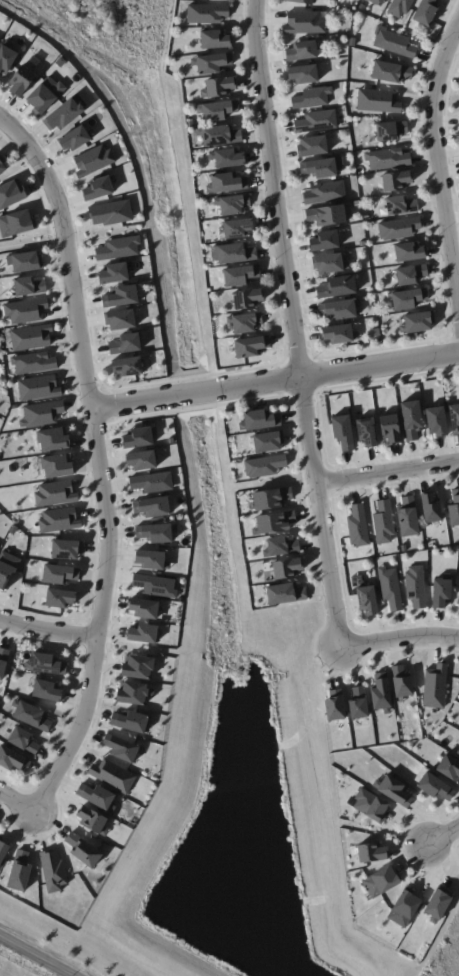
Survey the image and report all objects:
building: (301, 1)
building: (376, 2)
building: (400, 7)
building: (425, 12)
building: (206, 13)
building: (306, 22)
park: (123, 23)
building: (213, 38)
building: (394, 43)
building: (302, 51)
building: (6, 58)
building: (211, 62)
building: (390, 72)
building: (303, 73)
building: (21, 80)
building: (219, 87)
building: (44, 94)
building: (311, 97)
building: (378, 101)
building: (216, 110)
building: (63, 114)
building: (316, 122)
building: (390, 131)
building: (219, 134)
building: (74, 138)
building: (312, 145)
building: (227, 157)
building: (386, 158)
building: (93, 160)
building: (2, 167)
building: (319, 168)
road: (437, 172)
building: (396, 180)
building: (225, 183)
building: (97, 188)
road: (273, 190)
building: (324, 192)
building: (11, 194)
building: (232, 203)
building: (400, 205)
building: (110, 212)
building: (326, 215)
building: (15, 223)
building: (237, 227)
building: (398, 228)
building: (325, 240)
building: (118, 248)
building: (409, 251)
building: (232, 253)
building: (24, 261)
building: (328, 262)
building: (114, 273)
building: (240, 274)
building: (411, 274)
building: (28, 286)
building: (337, 286)
building: (121, 296)
building: (247, 298)
building: (408, 298)
building: (339, 308)
building: (25, 310)
building: (121, 319)
building: (245, 321)
building: (418, 322)
building: (339, 333)
building: (30, 337)
building: (125, 344)
building: (251, 345)
building: (33, 362)
building: (127, 366)
road: (274, 383)
building: (38, 387)
building: (40, 413)
building: (454, 418)
building: (411, 419)
building: (258, 420)
building: (437, 420)
building: (390, 428)
building: (367, 431)
building: (343, 432)
building: (138, 437)
building: (52, 440)
building: (267, 441)
building: (141, 459)
road: (96, 461)
building: (264, 465)
building: (55, 466)
road: (386, 470)
building: (152, 482)
building: (55, 493)
building: (271, 498)
building: (152, 506)
building: (431, 507)
building: (454, 508)
road: (318, 512)
building: (408, 516)
building: (58, 519)
building: (273, 522)
building: (383, 522)
building: (357, 525)
building: (155, 532)
building: (280, 546)
building: (65, 549)
building: (151, 559)
building: (7, 568)
building: (286, 568)
building: (59, 573)
building: (155, 585)
building: (415, 586)
building: (390, 587)
building: (441, 592)
building: (285, 593)
building: (59, 598)
building: (458, 598)
building: (367, 600)
building: (143, 607)
road: (47, 625)
building: (143, 633)
road: (397, 636)
building: (3, 660)
building: (46, 663)
building: (137, 667)
building: (401, 682)
building: (435, 686)
building: (46, 690)
building: (134, 692)
building: (381, 695)
building: (358, 703)
building: (335, 708)
building: (32, 716)
building: (129, 721)
building: (23, 740)
building: (120, 747)
building: (457, 751)
building: (12, 759)
building: (449, 767)
building: (112, 776)
building: (435, 786)
building: (392, 789)
building: (96, 795)
road: (17, 800)
building: (370, 804)
building: (93, 820)
road: (443, 832)
building: (82, 849)
building: (3, 850)
building: (372, 852)
building: (52, 870)
building: (19, 871)
building: (381, 880)
building: (437, 905)
building: (403, 908)
road: (32, 958)

